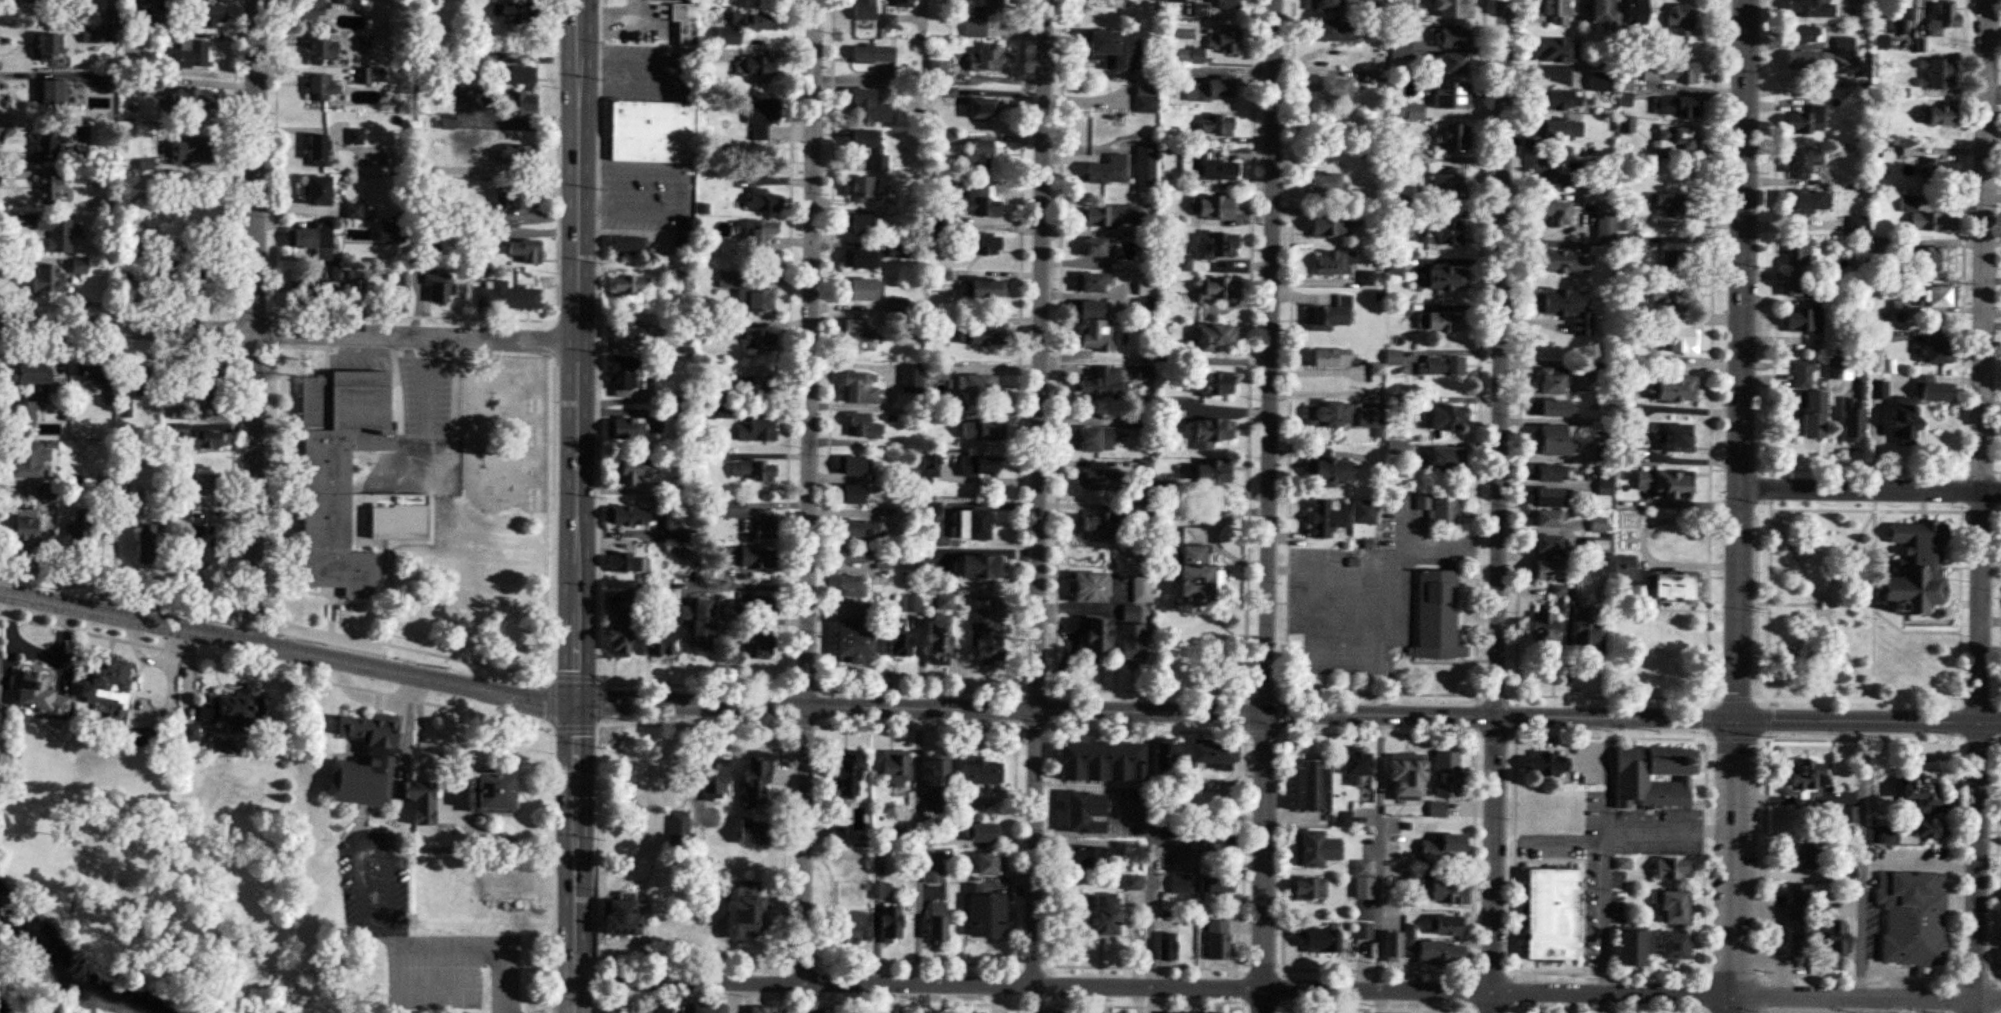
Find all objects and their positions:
building: (24, 1)
building: (1172, 1)
building: (347, 2)
building: (900, 3)
building: (1104, 3)
building: (1227, 3)
building: (1326, 4)
building: (992, 7)
building: (1452, 8)
building: (1809, 8)
building: (313, 9)
building: (864, 10)
building: (1553, 11)
building: (144, 12)
building: (518, 12)
building: (1604, 13)
building: (1636, 13)
building: (203, 15)
building: (1902, 19)
building: (1943, 19)
building: (1681, 20)
building: (889, 22)
building: (743, 25)
building: (627, 28)
building: (974, 28)
building: (1329, 30)
building: (1804, 34)
building: (1453, 37)
building: (1222, 39)
building: (1881, 41)
building: (48, 43)
building: (1845, 43)
building: (364, 44)
building: (321, 49)
building: (1111, 49)
building: (1400, 50)
building: (1556, 50)
building: (186, 53)
building: (873, 54)
building: (1190, 55)
building: (986, 60)
building: (1811, 61)
building: (477, 62)
building: (1449, 63)
building: (755, 67)
building: (938, 72)
building: (1941, 73)
building: (371, 75)
building: (516, 75)
building: (1669, 75)
building: (107, 82)
building: (1597, 82)
building: (320, 84)
building: (1624, 84)
building: (1334, 88)
building: (1210, 89)
building: (51, 92)
building: (1450, 96)
building: (189, 98)
building: (1559, 99)
building: (1624, 102)
building: (518, 103)
building: (1674, 106)
building: (867, 107)
building: (982, 109)
building: (1940, 116)
building: (761, 117)
building: (1805, 121)
building: (1215, 124)
building: (1561, 129)
building: (650, 132)
building: (1453, 138)
building: (1677, 138)
building: (48, 143)
building: (316, 147)
building: (187, 149)
building: (876, 150)
building: (1148, 150)
building: (520, 153)
building: (978, 155)
building: (1798, 162)
building: (1211, 168)
building: (1932, 172)
building: (1105, 173)
building: (1145, 174)
building: (1552, 176)
building: (724, 181)
building: (1324, 183)
building: (1447, 187)
building: (861, 188)
building: (49, 190)
building: (317, 190)
road: (677, 193)
building: (516, 199)
building: (763, 201)
building: (1801, 201)
building: (974, 202)
building: (1673, 205)
building: (1212, 207)
building: (1554, 215)
building: (1104, 216)
building: (1926, 217)
building: (860, 224)
building: (1330, 225)
building: (1858, 226)
building: (1605, 227)
building: (490, 229)
building: (54, 232)
building: (757, 232)
building: (1441, 233)
building: (312, 239)
building: (981, 243)
building: (1878, 244)
building: (627, 246)
building: (1097, 248)
building: (1798, 248)
building: (1208, 249)
building: (524, 251)
building: (896, 252)
building: (859, 258)
building: (1939, 259)
building: (1677, 260)
building: (1335, 262)
building: (1563, 262)
building: (323, 275)
building: (360, 276)
building: (42, 278)
building: (1446, 278)
building: (1089, 283)
building: (630, 286)
building: (985, 287)
building: (1146, 287)
building: (438, 288)
building: (862, 288)
building: (1218, 288)
building: (1796, 288)
building: (747, 294)
building: (506, 296)
building: (1937, 296)
building: (1676, 301)
building: (1899, 307)
building: (1145, 308)
building: (1565, 308)
building: (1090, 309)
building: (1330, 315)
building: (1802, 320)
building: (1439, 321)
road: (257, 322)
building: (622, 328)
road: (289, 334)
building: (1095, 334)
building: (855, 335)
building: (980, 335)
building: (1216, 336)
building: (758, 339)
building: (1677, 340)
building: (1934, 351)
building: (1328, 358)
building: (1444, 365)
building: (1839, 367)
building: (938, 371)
building: (93, 372)
building: (27, 373)
building: (1802, 374)
building: (622, 375)
building: (140, 377)
building: (209, 377)
building: (1550, 380)
building: (751, 383)
building: (1100, 383)
building: (1214, 385)
building: (977, 386)
building: (860, 387)
building: (1674, 389)
building: (1936, 390)
building: (1557, 408)
building: (125, 409)
building: (21, 412)
building: (183, 413)
building: (1328, 414)
building: (1812, 414)
building: (1369, 417)
building: (1903, 417)
building: (1444, 418)
building: (1851, 420)
building: (863, 426)
building: (626, 430)
building: (756, 430)
building: (980, 430)
building: (1211, 433)
building: (194, 437)
building: (1676, 437)
building: (1093, 439)
building: (1555, 439)
building: (27, 459)
building: (1443, 459)
building: (852, 465)
building: (977, 465)
building: (1329, 467)
building: (636, 470)
building: (751, 470)
building: (1547, 472)
building: (1210, 473)
building: (336, 477)
building: (1091, 480)
building: (1663, 483)
building: (201, 484)
road: (812, 490)
road: (1869, 490)
road: (1040, 491)
building: (851, 495)
building: (1547, 497)
road: (576, 506)
road: (1265, 506)
building: (1438, 506)
road: (1494, 506)
road: (1736, 506)
road: (1981, 506)
building: (732, 508)
building: (383, 512)
building: (627, 516)
building: (1361, 519)
building: (1544, 519)
building: (1316, 520)
building: (763, 524)
building: (1095, 524)
building: (972, 525)
building: (1597, 525)
building: (21, 527)
building: (862, 529)
building: (77, 534)
building: (144, 542)
building: (1543, 544)
building: (200, 545)
building: (1600, 545)
building: (852, 556)
building: (744, 557)
building: (919, 560)
building: (627, 563)
building: (1192, 564)
building: (979, 567)
building: (1621, 567)
building: (1916, 568)
building: (1543, 570)
road: (1392, 585)
building: (851, 586)
building: (1670, 586)
park: (1800, 586)
building: (1088, 587)
building: (1141, 588)
building: (945, 601)
building: (912, 603)
building: (762, 607)
road: (1084, 609)
building: (1130, 613)
building: (1436, 617)
building: (697, 625)
building: (1584, 630)
building: (1542, 631)
building: (985, 633)
building: (1090, 635)
building: (619, 636)
building: (896, 638)
building: (937, 639)
building: (853, 642)
building: (658, 643)
building: (1131, 643)
building: (758, 646)
building: (105, 686)
building: (37, 695)
building: (223, 708)
road: (862, 710)
road: (1867, 719)
building: (186, 732)
road: (419, 739)
building: (1215, 755)
building: (1164, 756)
building: (363, 761)
building: (1099, 761)
building: (1649, 761)
building: (1355, 763)
building: (1546, 763)
building: (895, 770)
building: (976, 772)
building: (848, 774)
building: (1446, 774)
building: (711, 775)
building: (1405, 776)
building: (753, 780)
building: (936, 780)
building: (1803, 782)
building: (1310, 787)
building: (485, 791)
building: (1920, 792)
building: (418, 799)
building: (1081, 810)
building: (1848, 815)
building: (1342, 819)
building: (679, 824)
building: (1927, 828)
building: (754, 832)
building: (982, 833)
building: (840, 837)
road: (1670, 837)
building: (1220, 838)
road: (361, 844)
building: (1442, 846)
road: (917, 847)
road: (1147, 848)
building: (1314, 849)
road: (1604, 853)
building: (1807, 856)
building: (1087, 857)
road: (1860, 858)
road: (1362, 862)
building: (988, 864)
building: (1673, 869)
building: (934, 873)
building: (1362, 880)
building: (1134, 882)
building: (514, 883)
building: (1217, 885)
building: (1179, 888)
building: (1449, 888)
building: (1309, 889)
building: (1673, 908)
building: (743, 911)
building: (983, 913)
building: (1167, 913)
building: (1550, 914)
building: (1100, 916)
building: (1799, 916)
building: (620, 918)
building: (1913, 918)
building: (890, 925)
building: (850, 926)
building: (1449, 926)
building: (936, 929)
building: (1364, 931)
building: (1831, 935)
building: (1218, 940)
building: (1410, 940)
building: (1321, 941)
road: (475, 943)
building: (1166, 947)
building: (1391, 947)
building: (1675, 947)
building: (1630, 949)
building: (1443, 953)
road: (1155, 987)
road: (435, 988)
road: (1869, 997)
road: (1600, 1003)
road: (1881, 1005)
road: (1927, 1005)
building: (1648, 1006)
building: (705, 1008)
building: (758, 1010)
building: (805, 1010)
building: (658, 1011)
building: (614, 1012)

